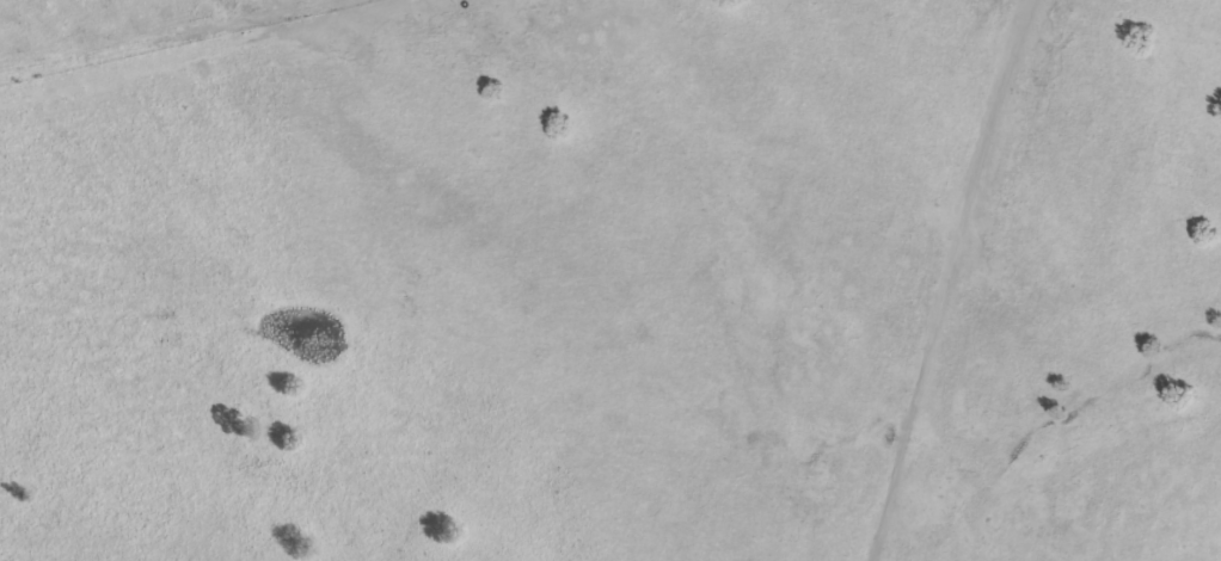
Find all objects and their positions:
road: (939, 279)

